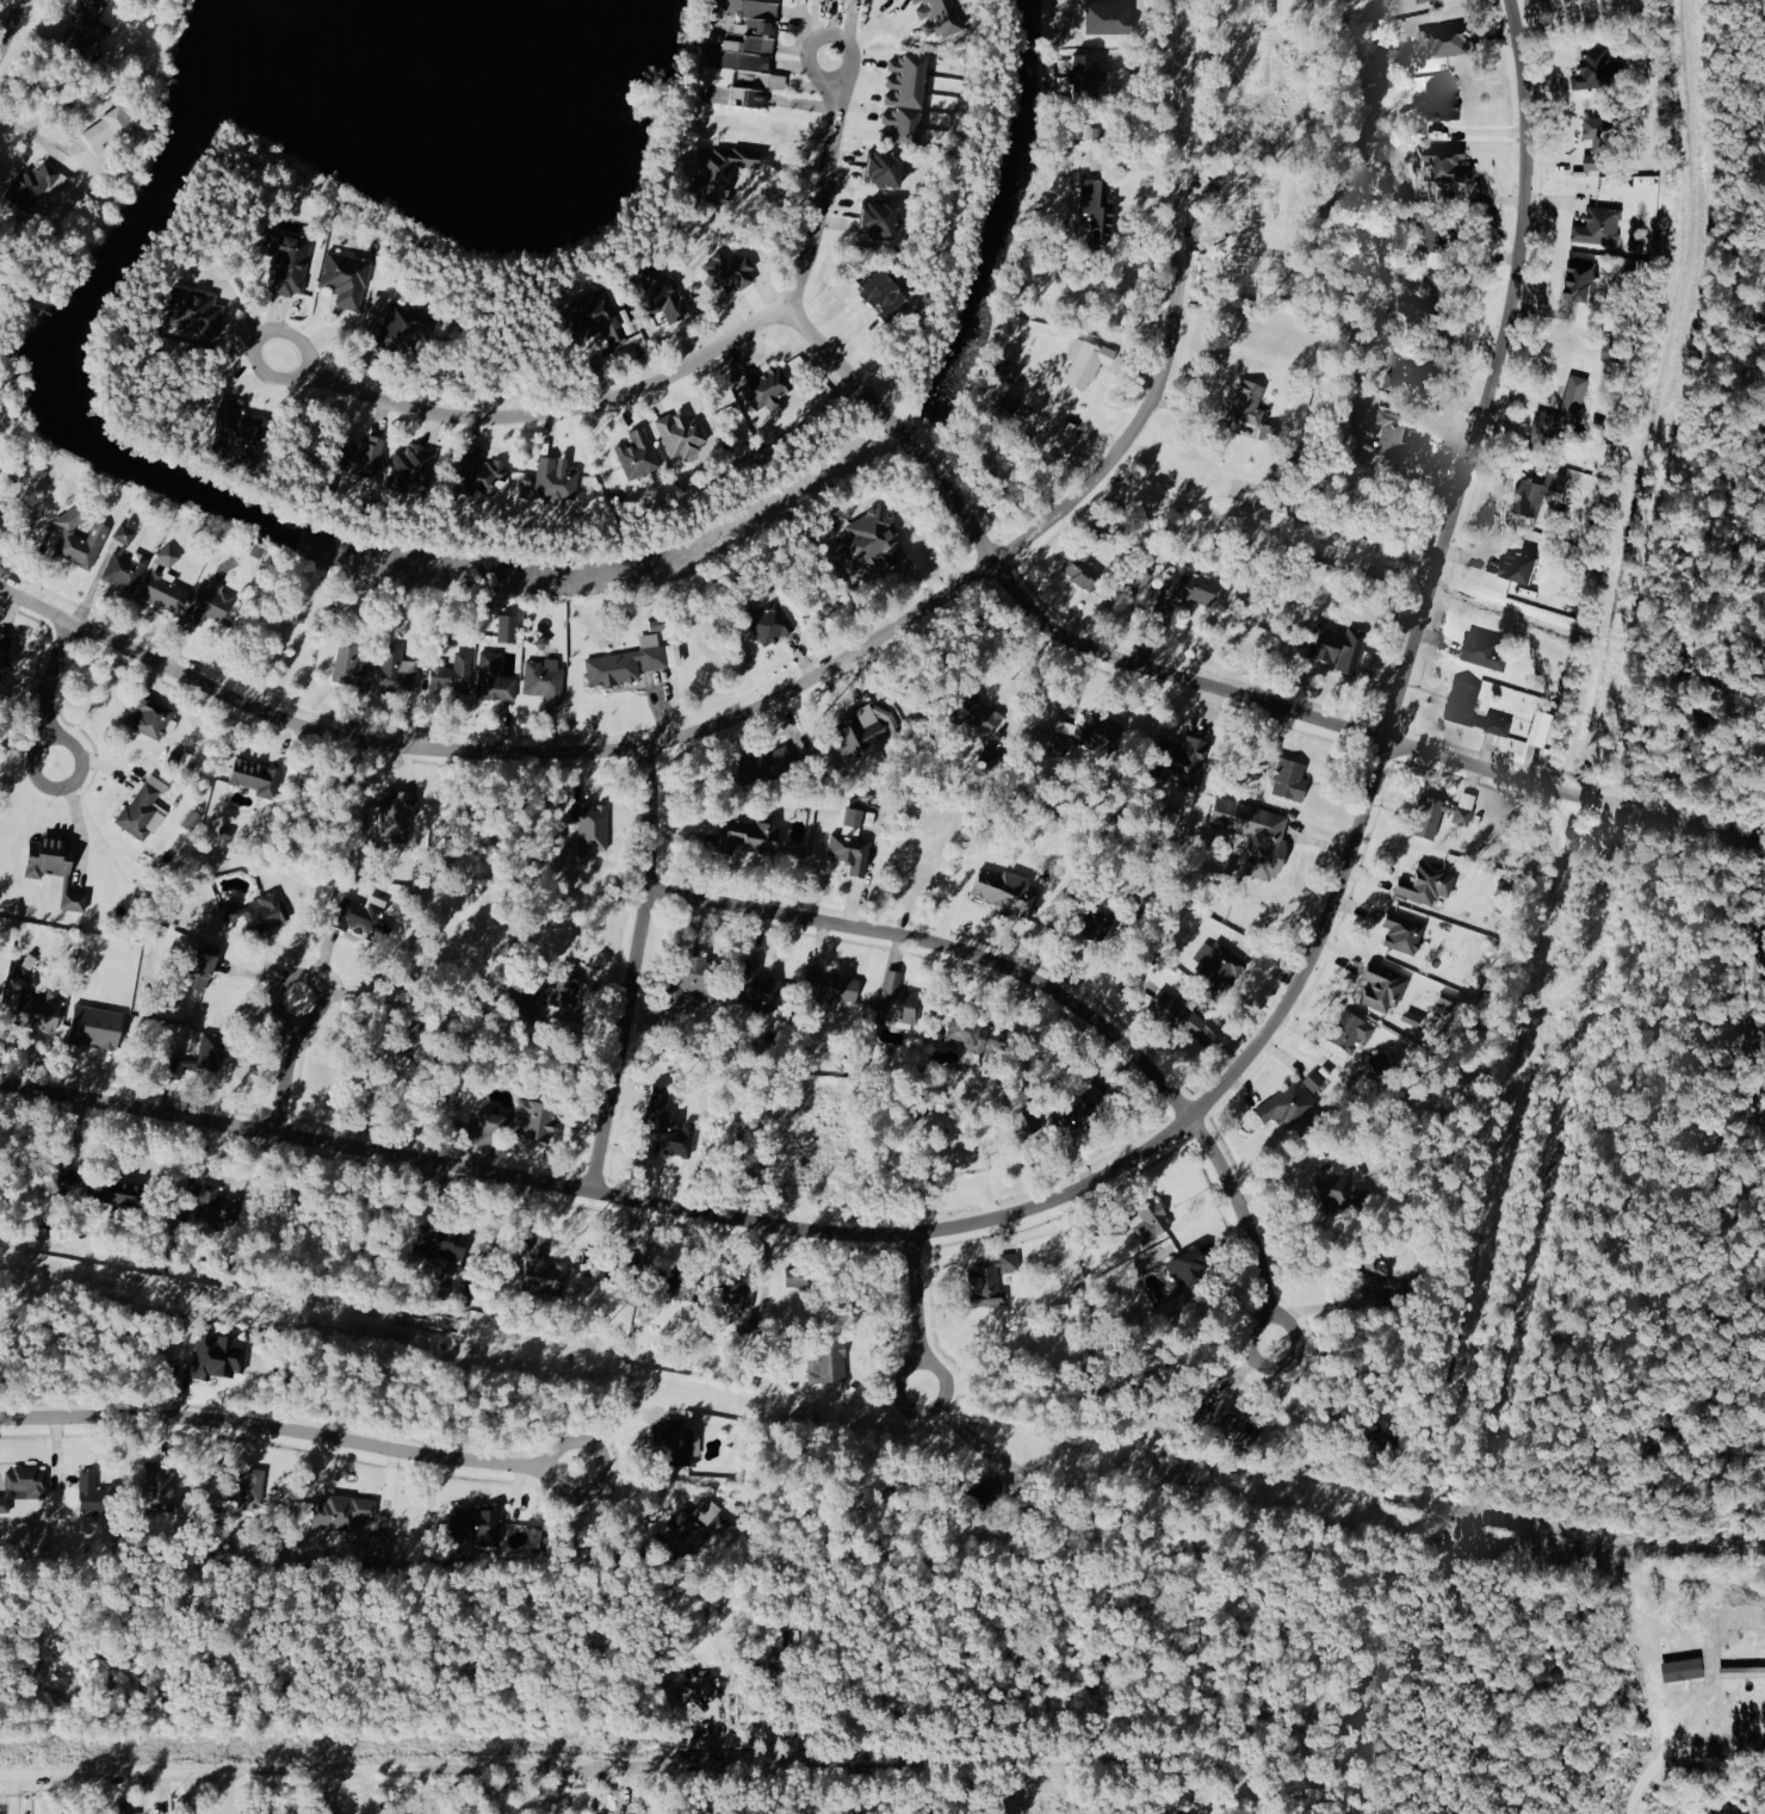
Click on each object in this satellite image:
building: (865, 0)
building: (1422, 1)
building: (744, 8)
building: (1253, 11)
building: (939, 18)
building: (1107, 20)
building: (741, 25)
road: (810, 25)
road: (11, 29)
building: (89, 31)
building: (1448, 37)
road: (863, 39)
building: (749, 44)
road: (850, 44)
building: (736, 60)
building: (1592, 69)
building: (1084, 75)
building: (742, 78)
building: (905, 82)
building: (1447, 95)
building: (738, 97)
building: (110, 128)
building: (900, 128)
building: (1604, 134)
road: (33, 136)
building: (1449, 161)
building: (1597, 162)
building: (882, 167)
building: (719, 173)
building: (33, 186)
building: (1253, 200)
building: (1097, 210)
building: (879, 219)
building: (1600, 224)
building: (1439, 229)
building: (287, 259)
building: (1255, 268)
building: (727, 273)
building: (347, 279)
building: (1579, 280)
building: (1439, 291)
building: (881, 292)
building: (658, 295)
building: (194, 311)
building: (595, 316)
building: (404, 324)
building: (1086, 361)
building: (1419, 364)
road: (656, 382)
building: (767, 386)
building: (1577, 397)
building: (1247, 403)
building: (1395, 432)
building: (237, 433)
building: (1546, 433)
building: (680, 434)
building: (1354, 445)
building: (638, 454)
building: (361, 457)
building: (0, 468)
building: (414, 468)
building: (482, 473)
building: (556, 482)
building: (1529, 496)
building: (74, 515)
building: (126, 530)
building: (867, 539)
building: (81, 546)
building: (258, 549)
building: (171, 555)
building: (1519, 564)
building: (1080, 569)
building: (128, 570)
building: (1183, 592)
building: (165, 593)
building: (208, 605)
building: (769, 623)
building: (506, 630)
building: (1333, 646)
building: (1486, 650)
building: (5, 652)
building: (654, 657)
building: (353, 662)
building: (613, 668)
building: (397, 670)
building: (451, 675)
road: (52, 677)
building: (543, 680)
building: (493, 681)
road: (810, 685)
road: (1203, 685)
building: (1462, 700)
building: (979, 713)
building: (150, 717)
building: (1543, 729)
building: (1103, 730)
building: (865, 731)
building: (1078, 735)
road: (82, 751)
building: (1182, 760)
building: (761, 767)
building: (258, 778)
building: (1289, 780)
building: (138, 810)
building: (395, 813)
building: (1426, 817)
building: (855, 819)
building: (589, 828)
building: (1253, 834)
building: (744, 837)
building: (850, 852)
building: (49, 856)
building: (1425, 884)
building: (1004, 892)
building: (75, 903)
building: (231, 911)
building: (266, 911)
building: (364, 920)
building: (1094, 923)
building: (1402, 933)
building: (1220, 966)
road: (637, 967)
building: (202, 971)
building: (27, 972)
building: (688, 982)
building: (758, 984)
building: (830, 986)
building: (565, 988)
building: (1383, 990)
road: (1059, 992)
building: (524, 998)
building: (898, 1001)
road: (1751, 1007)
building: (38, 1010)
building: (1178, 1011)
building: (94, 1027)
building: (414, 1030)
building: (1350, 1030)
building: (968, 1036)
building: (211, 1051)
road: (91, 1057)
road: (289, 1064)
building: (1379, 1064)
building: (174, 1066)
building: (1084, 1091)
building: (1286, 1104)
building: (538, 1120)
building: (1029, 1125)
building: (491, 1129)
building: (664, 1129)
road: (1176, 1129)
road: (637, 1160)
building: (117, 1191)
building: (1337, 1191)
building: (216, 1201)
building: (1150, 1218)
building: (1119, 1220)
building: (448, 1252)
building: (1009, 1261)
building: (606, 1267)
building: (543, 1269)
building: (1187, 1269)
building: (1374, 1271)
building: (798, 1275)
building: (987, 1283)
building: (737, 1292)
road: (917, 1308)
building: (216, 1356)
building: (830, 1361)
road: (890, 1373)
road: (292, 1428)
building: (1243, 1430)
building: (1362, 1430)
road: (970, 1434)
building: (675, 1444)
building: (27, 1482)
building: (243, 1484)
building: (162, 1486)
building: (995, 1490)
building: (93, 1494)
building: (343, 1509)
building: (477, 1523)
building: (682, 1525)
road: (1680, 1754)
road: (621, 1762)
road: (1251, 1793)
building: (126, 1808)

